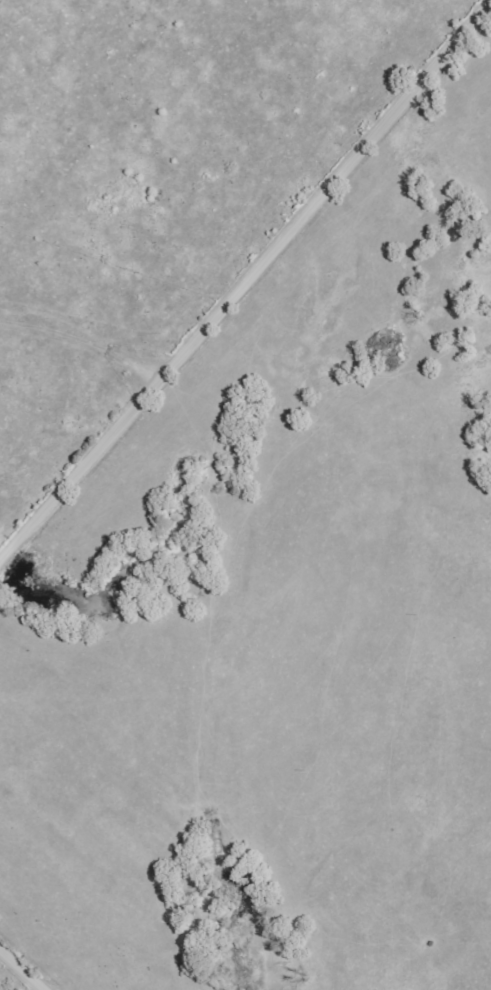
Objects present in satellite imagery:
road: (245, 279)
road: (24, 967)

